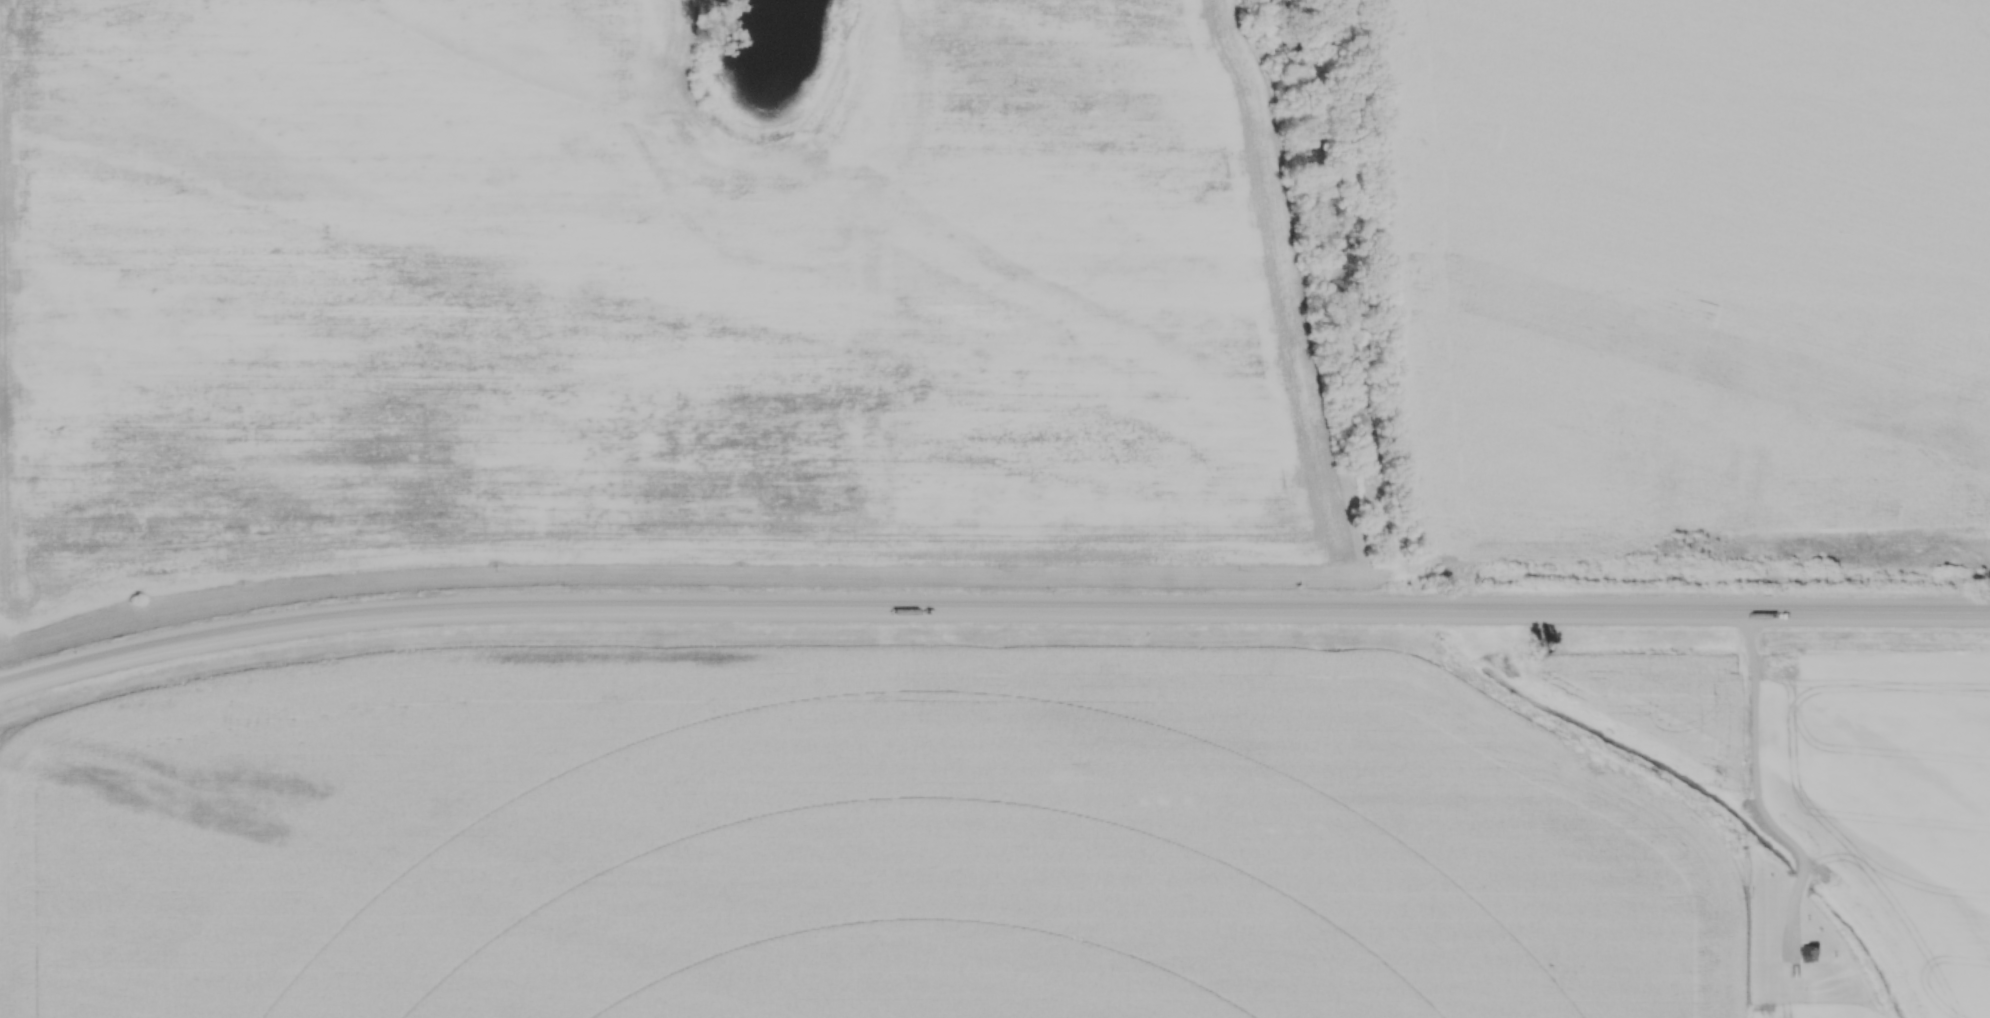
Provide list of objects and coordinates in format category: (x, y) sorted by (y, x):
road: (991, 608)
road: (1758, 785)

